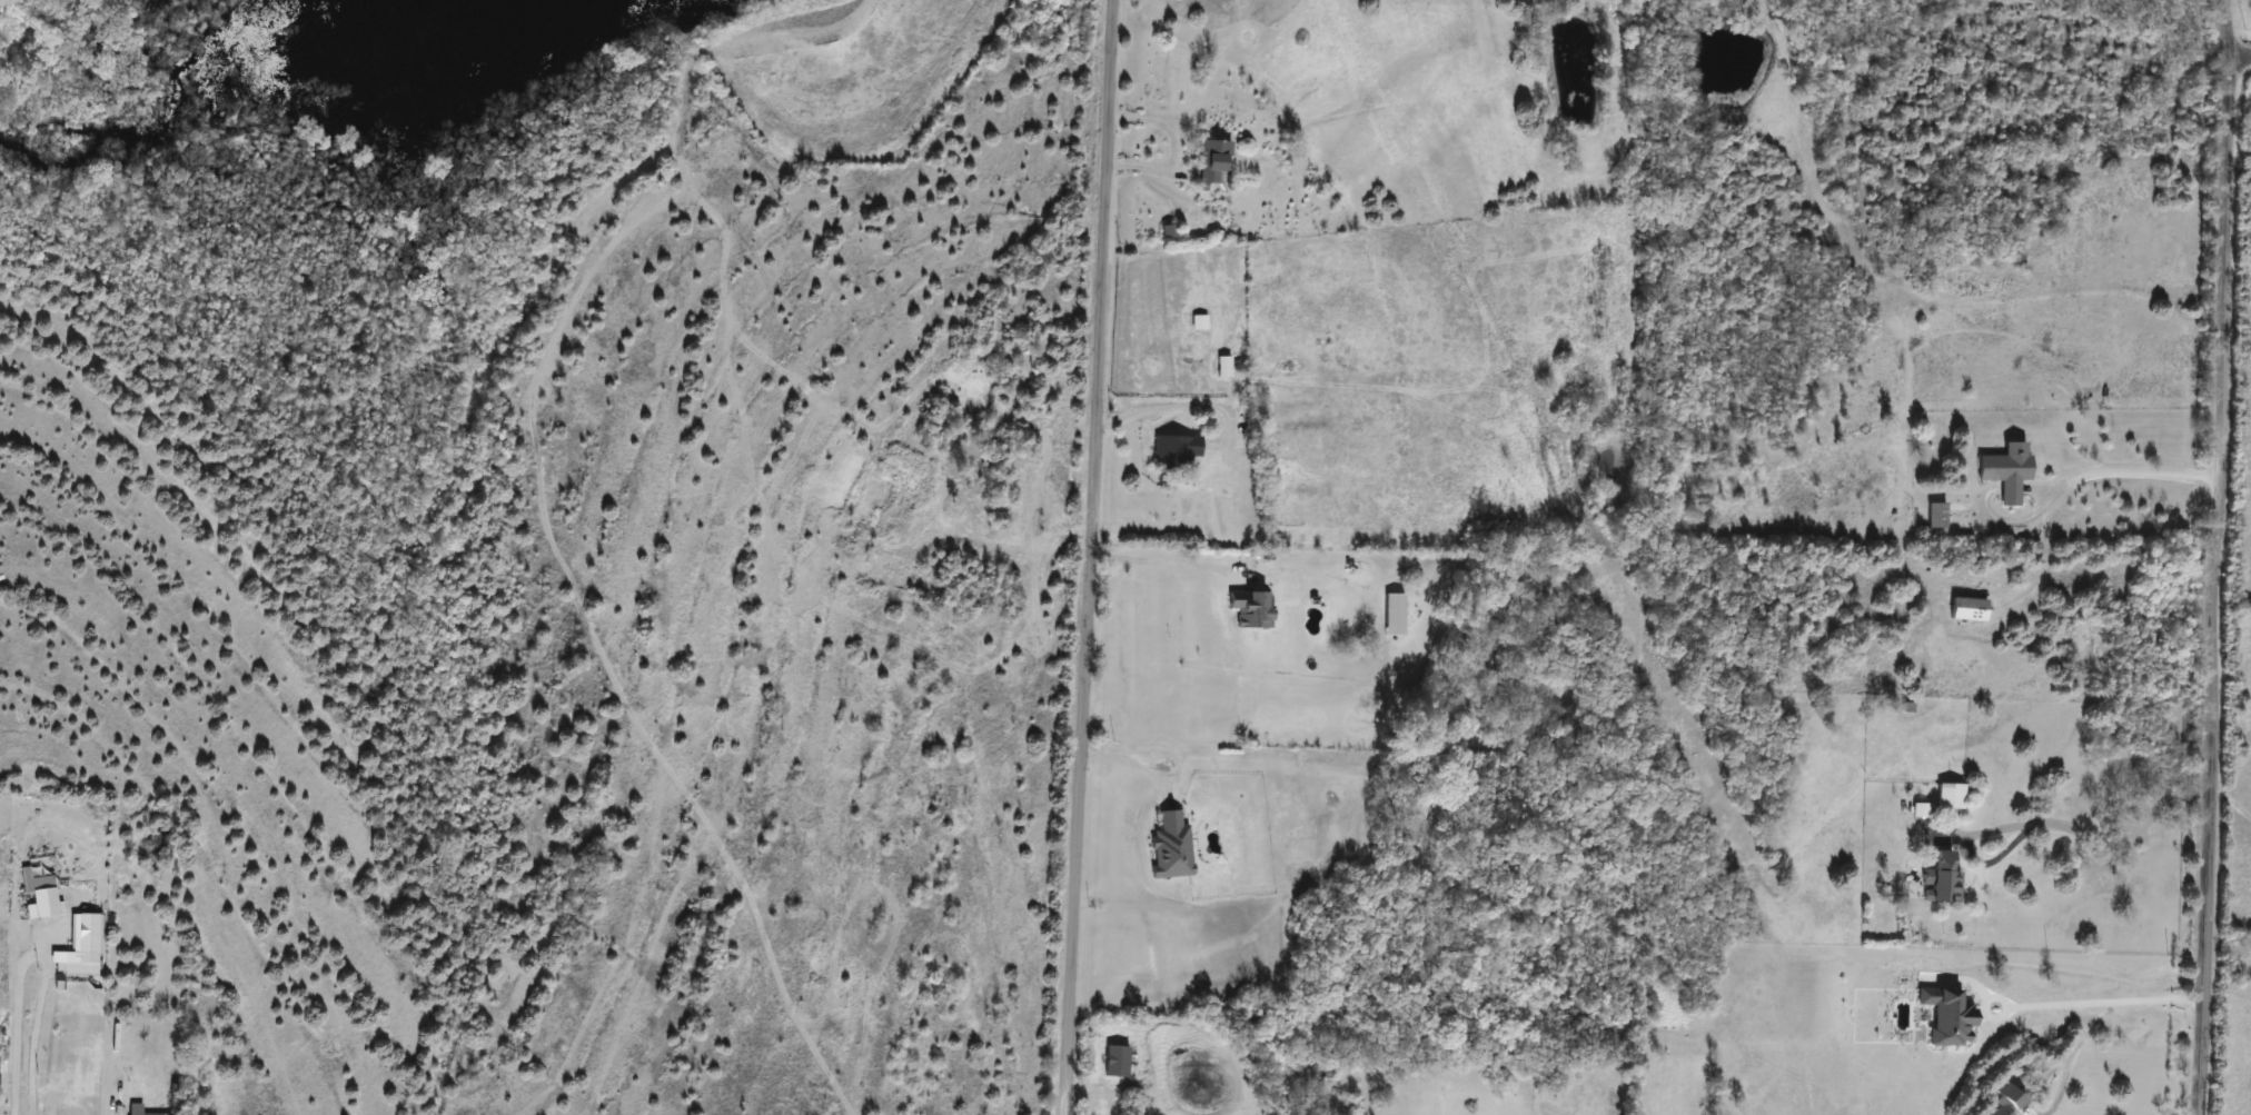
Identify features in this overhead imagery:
road: (2239, 52)
road: (1170, 142)
building: (1212, 165)
building: (1198, 322)
building: (1222, 366)
road: (1174, 399)
building: (1176, 450)
building: (2005, 470)
road: (2088, 475)
building: (1935, 515)
road: (1088, 557)
road: (2213, 557)
road: (1163, 565)
building: (1250, 608)
building: (1960, 613)
road: (1128, 758)
building: (1948, 796)
road: (2090, 839)
building: (1170, 847)
building: (1943, 878)
road: (2030, 1005)
road: (14, 1012)
road: (2112, 1012)
road: (1991, 1016)
road: (32, 1026)
building: (2006, 1098)
building: (54, 1104)
building: (133, 1107)

